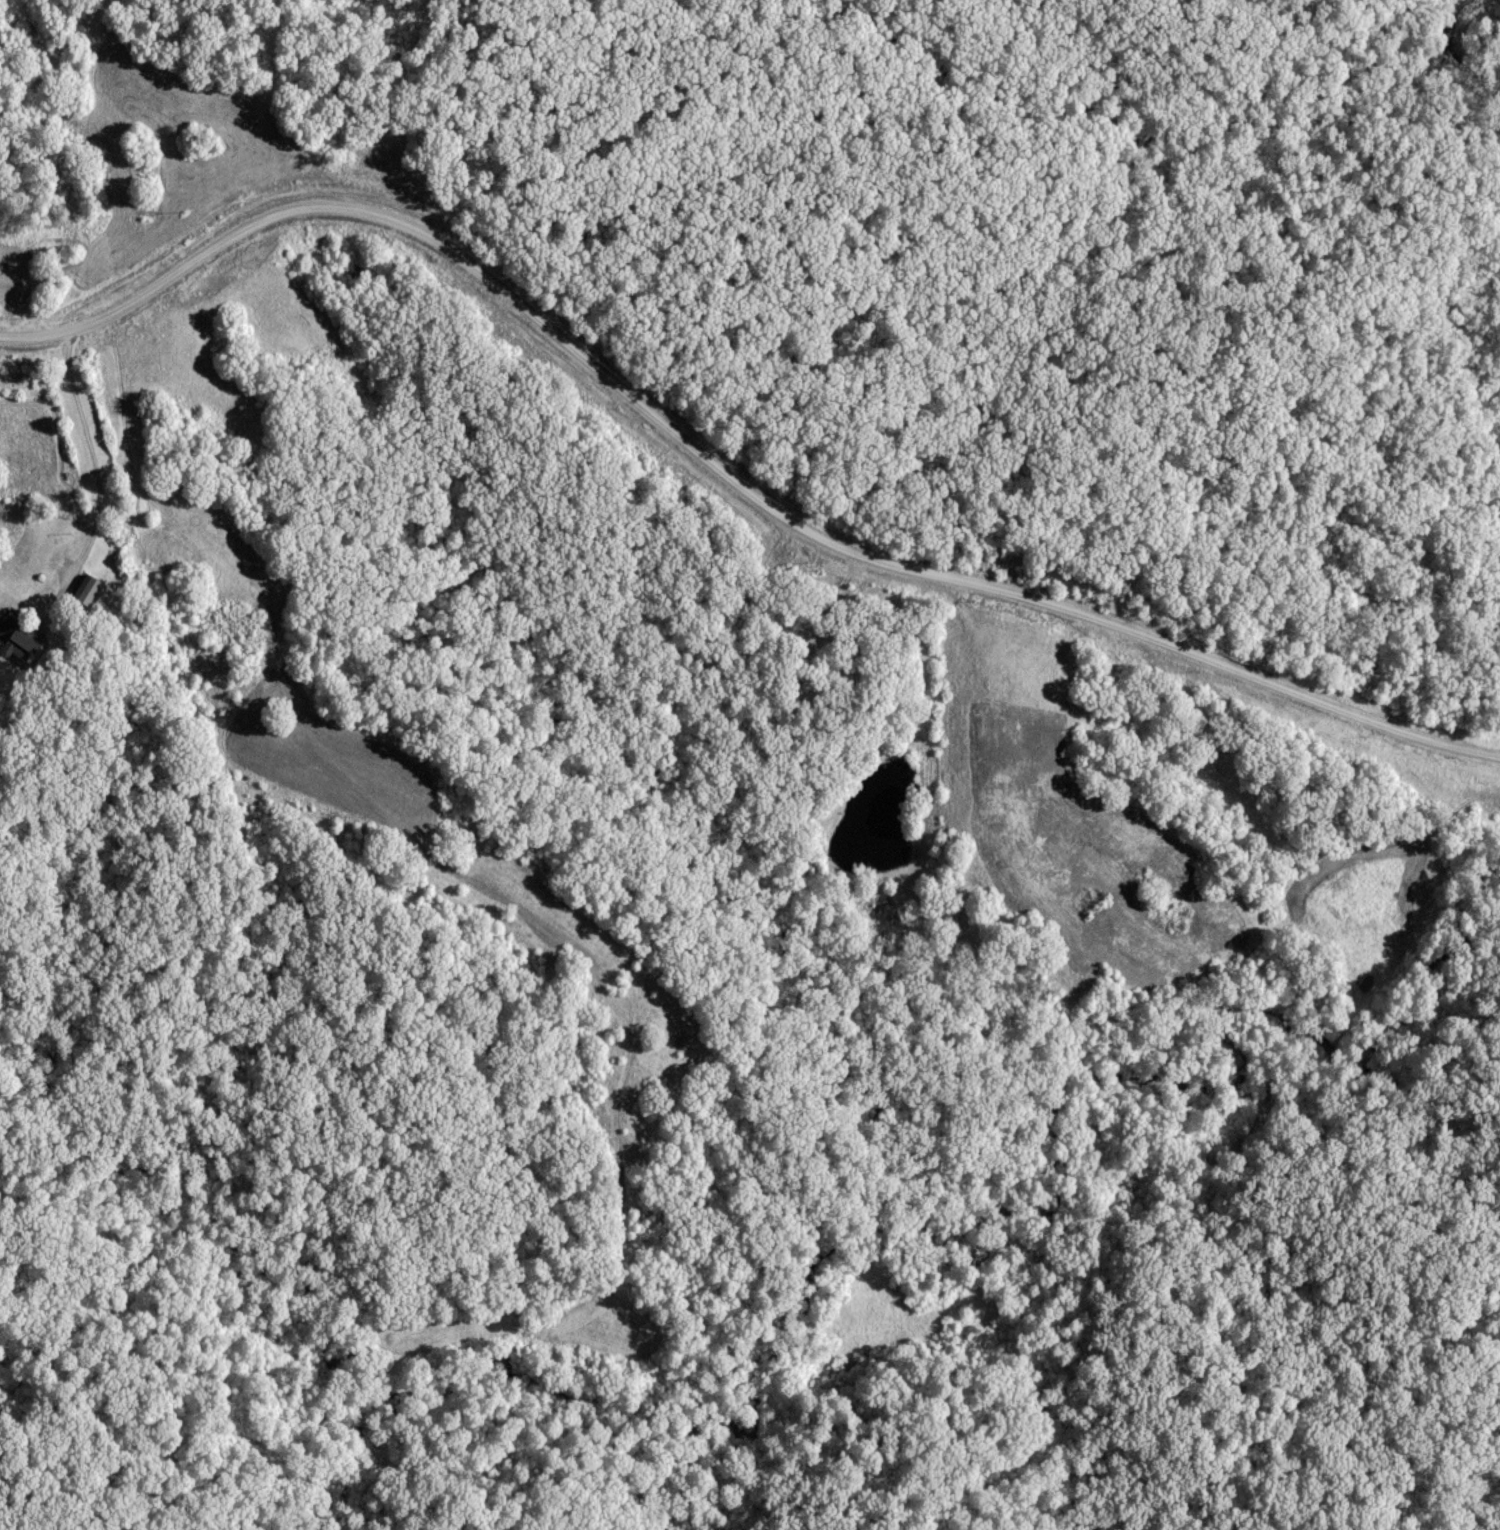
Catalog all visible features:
road: (717, 468)
building: (14, 645)

